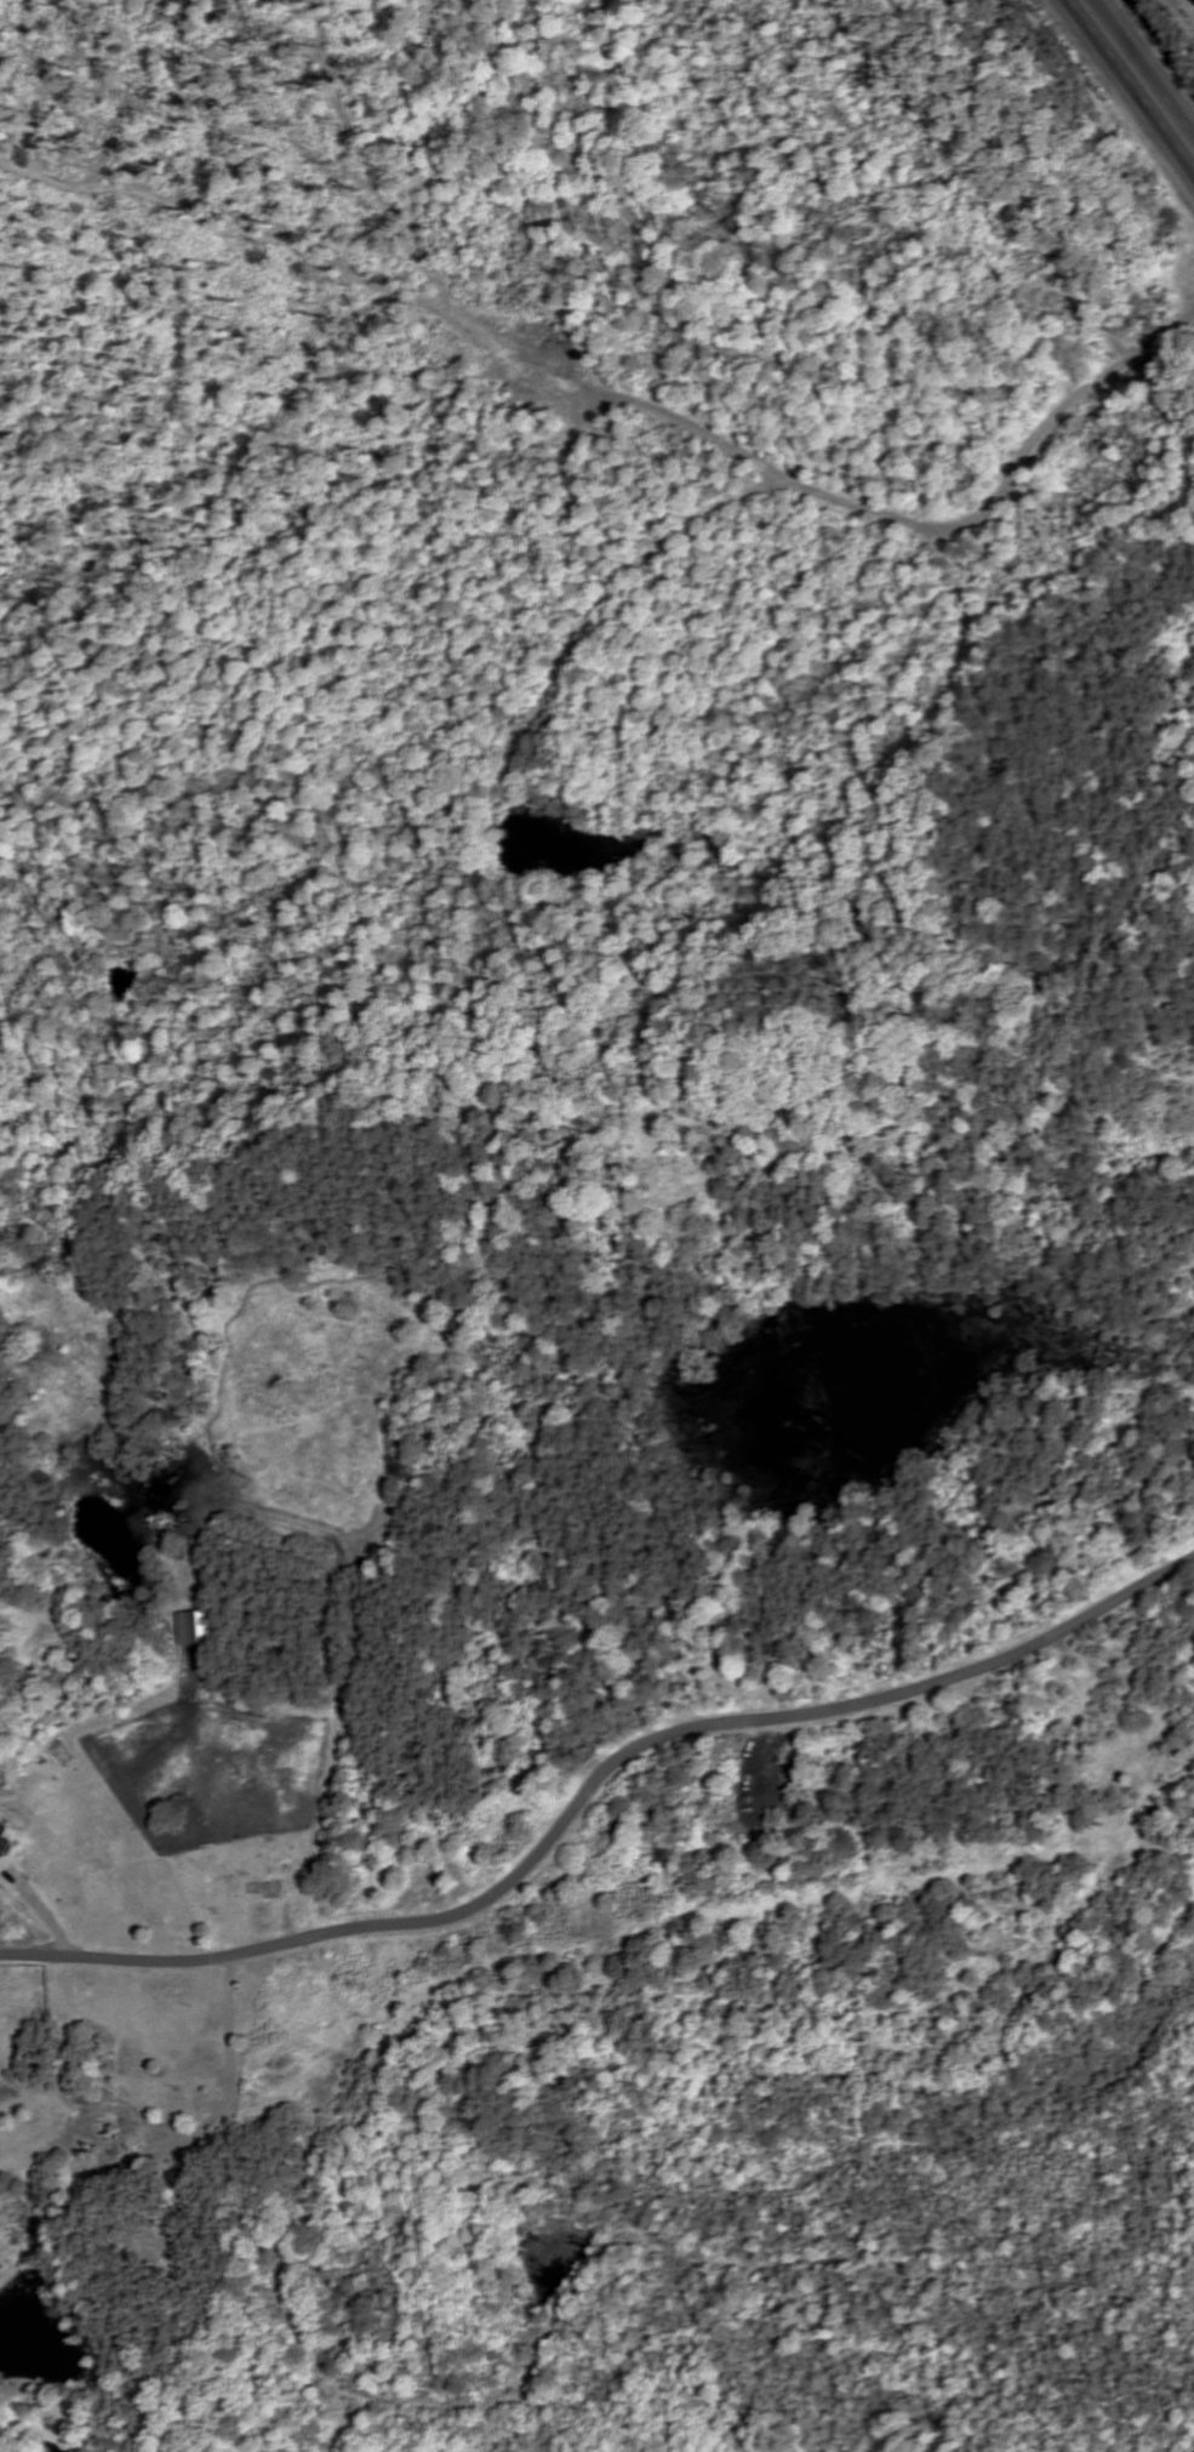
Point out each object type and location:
road: (1130, 81)
road: (889, 518)
building: (183, 1630)
road: (594, 1790)
building: (0, 1830)
building: (1, 1846)
building: (267, 1891)
road: (45, 1916)
road: (235, 2103)

